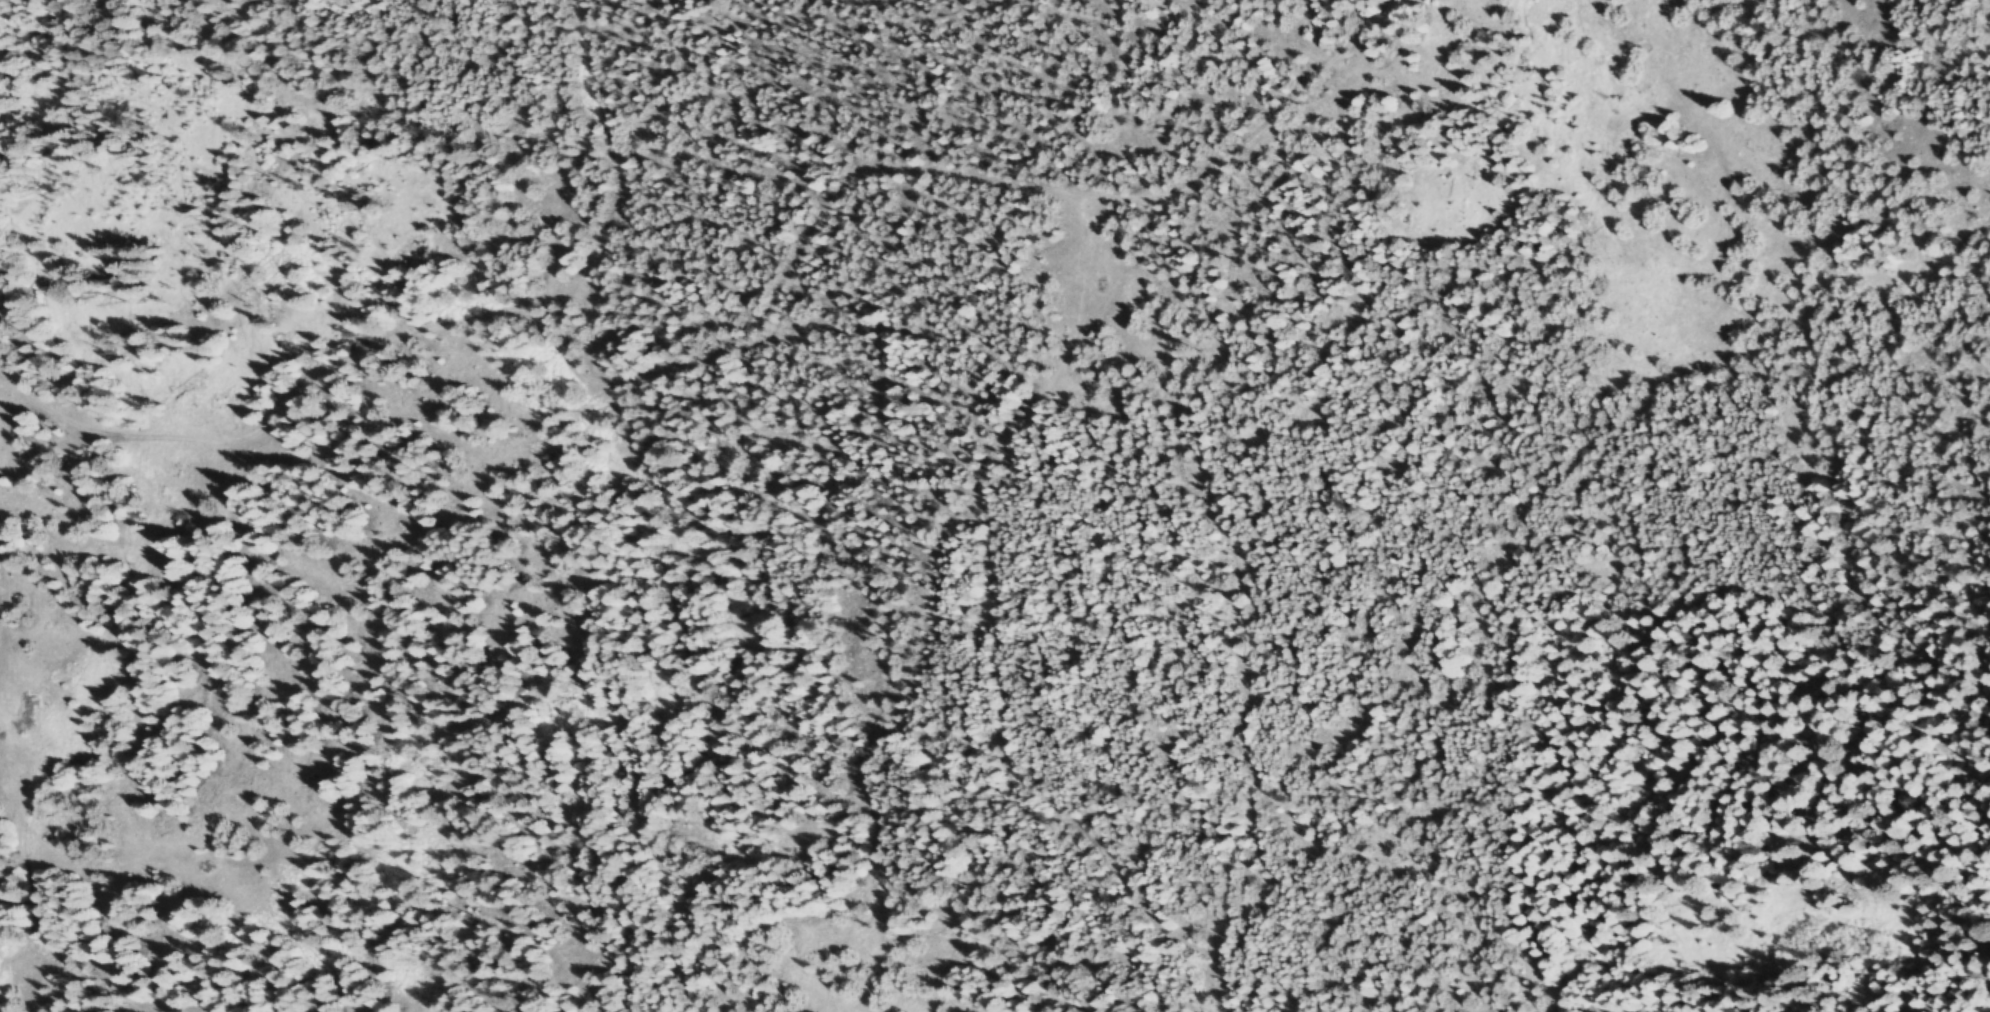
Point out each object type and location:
road: (0, 624)
road: (6, 867)

